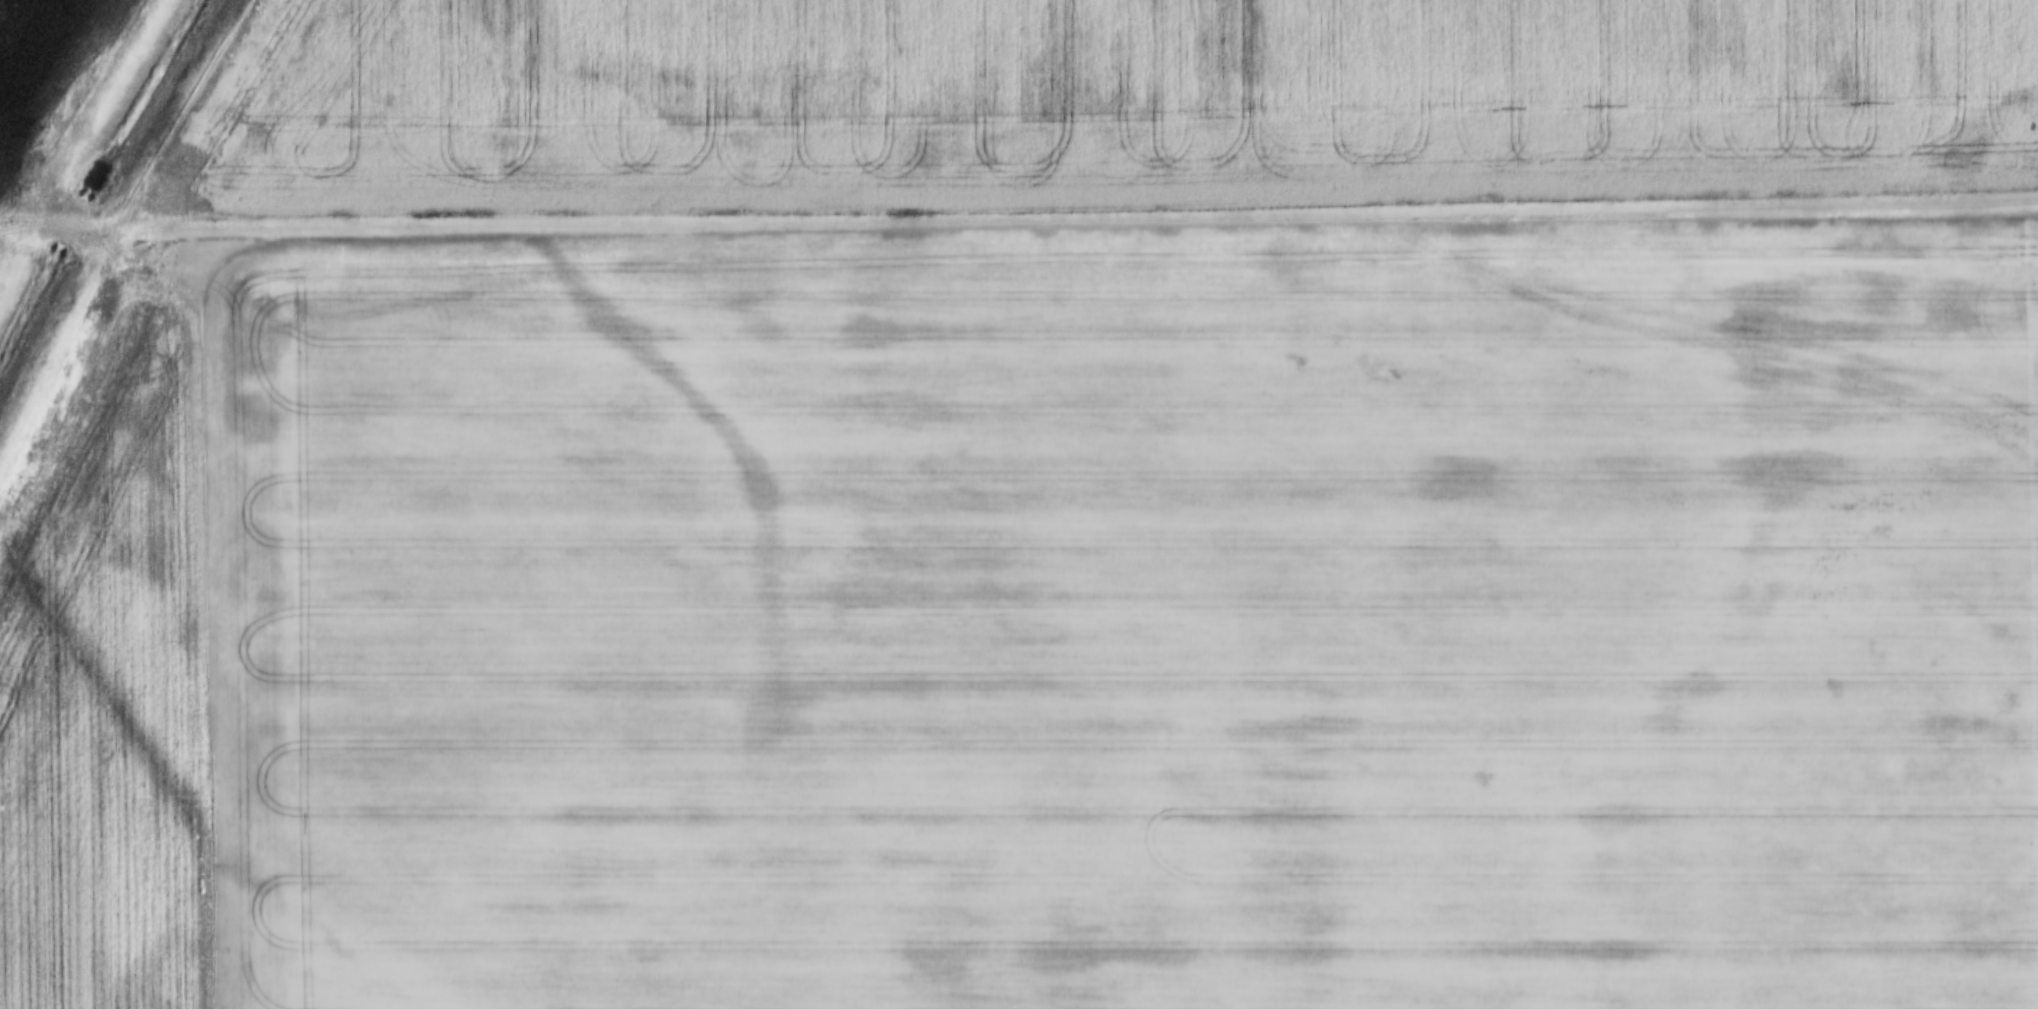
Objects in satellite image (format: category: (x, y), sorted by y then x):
road: (77, 101)
road: (1089, 211)

